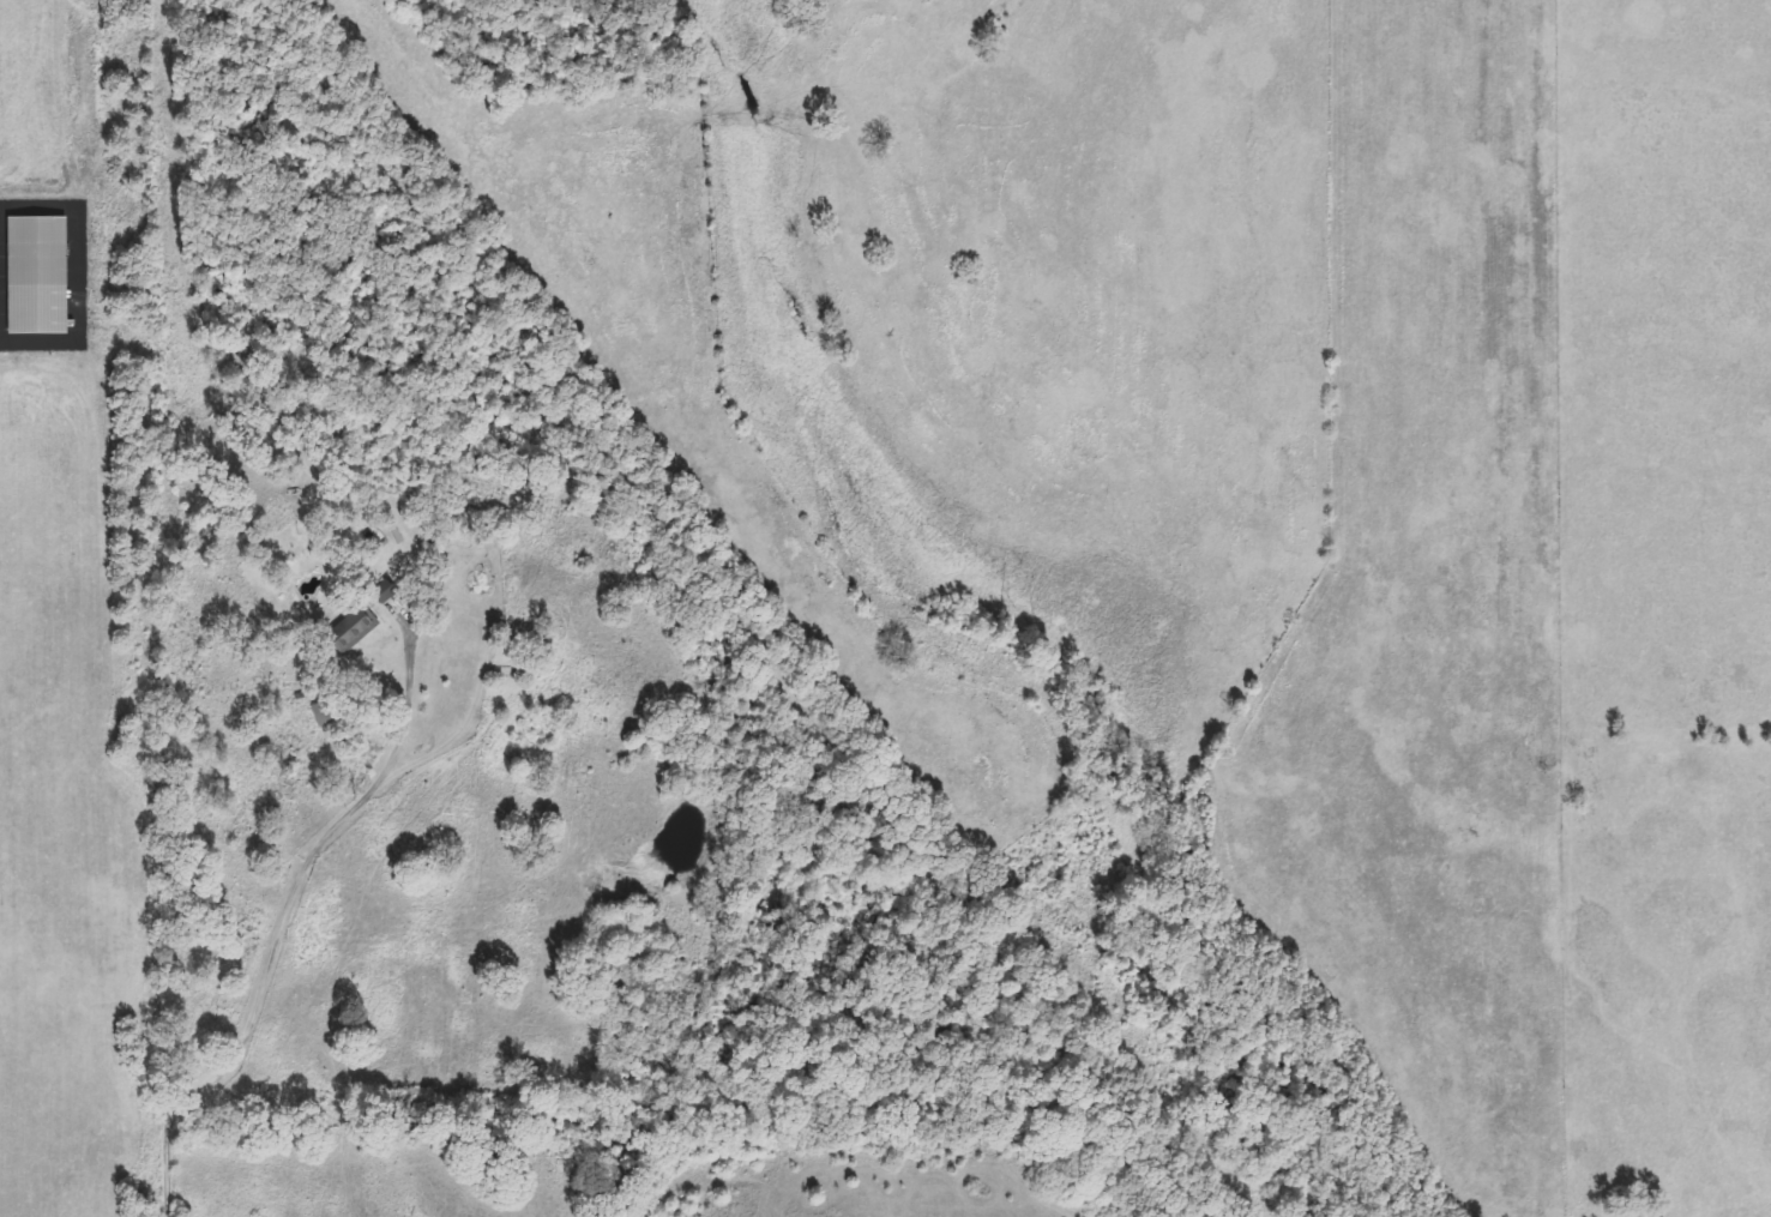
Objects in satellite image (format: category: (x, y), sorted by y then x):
building: (38, 275)
building: (387, 590)
building: (359, 631)

